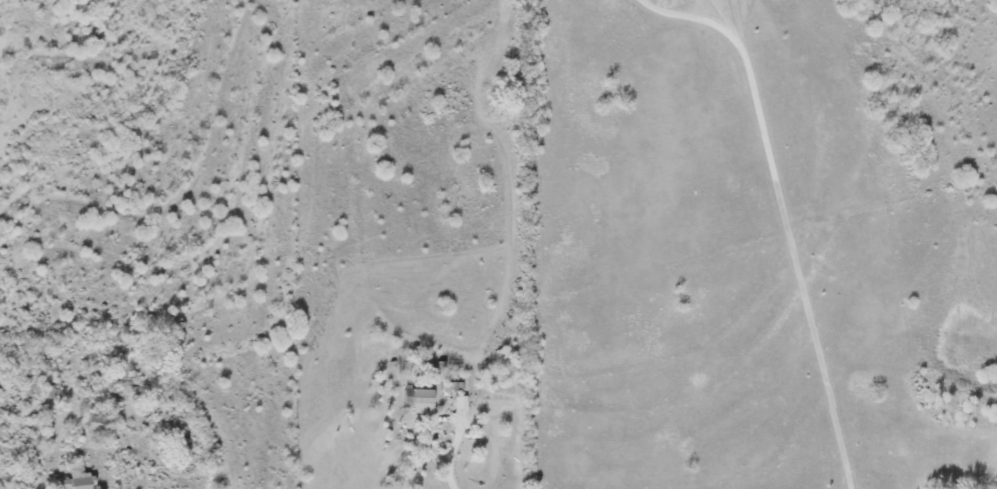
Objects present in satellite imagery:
road: (782, 210)
building: (417, 401)
road: (439, 417)
road: (450, 475)
building: (75, 482)

